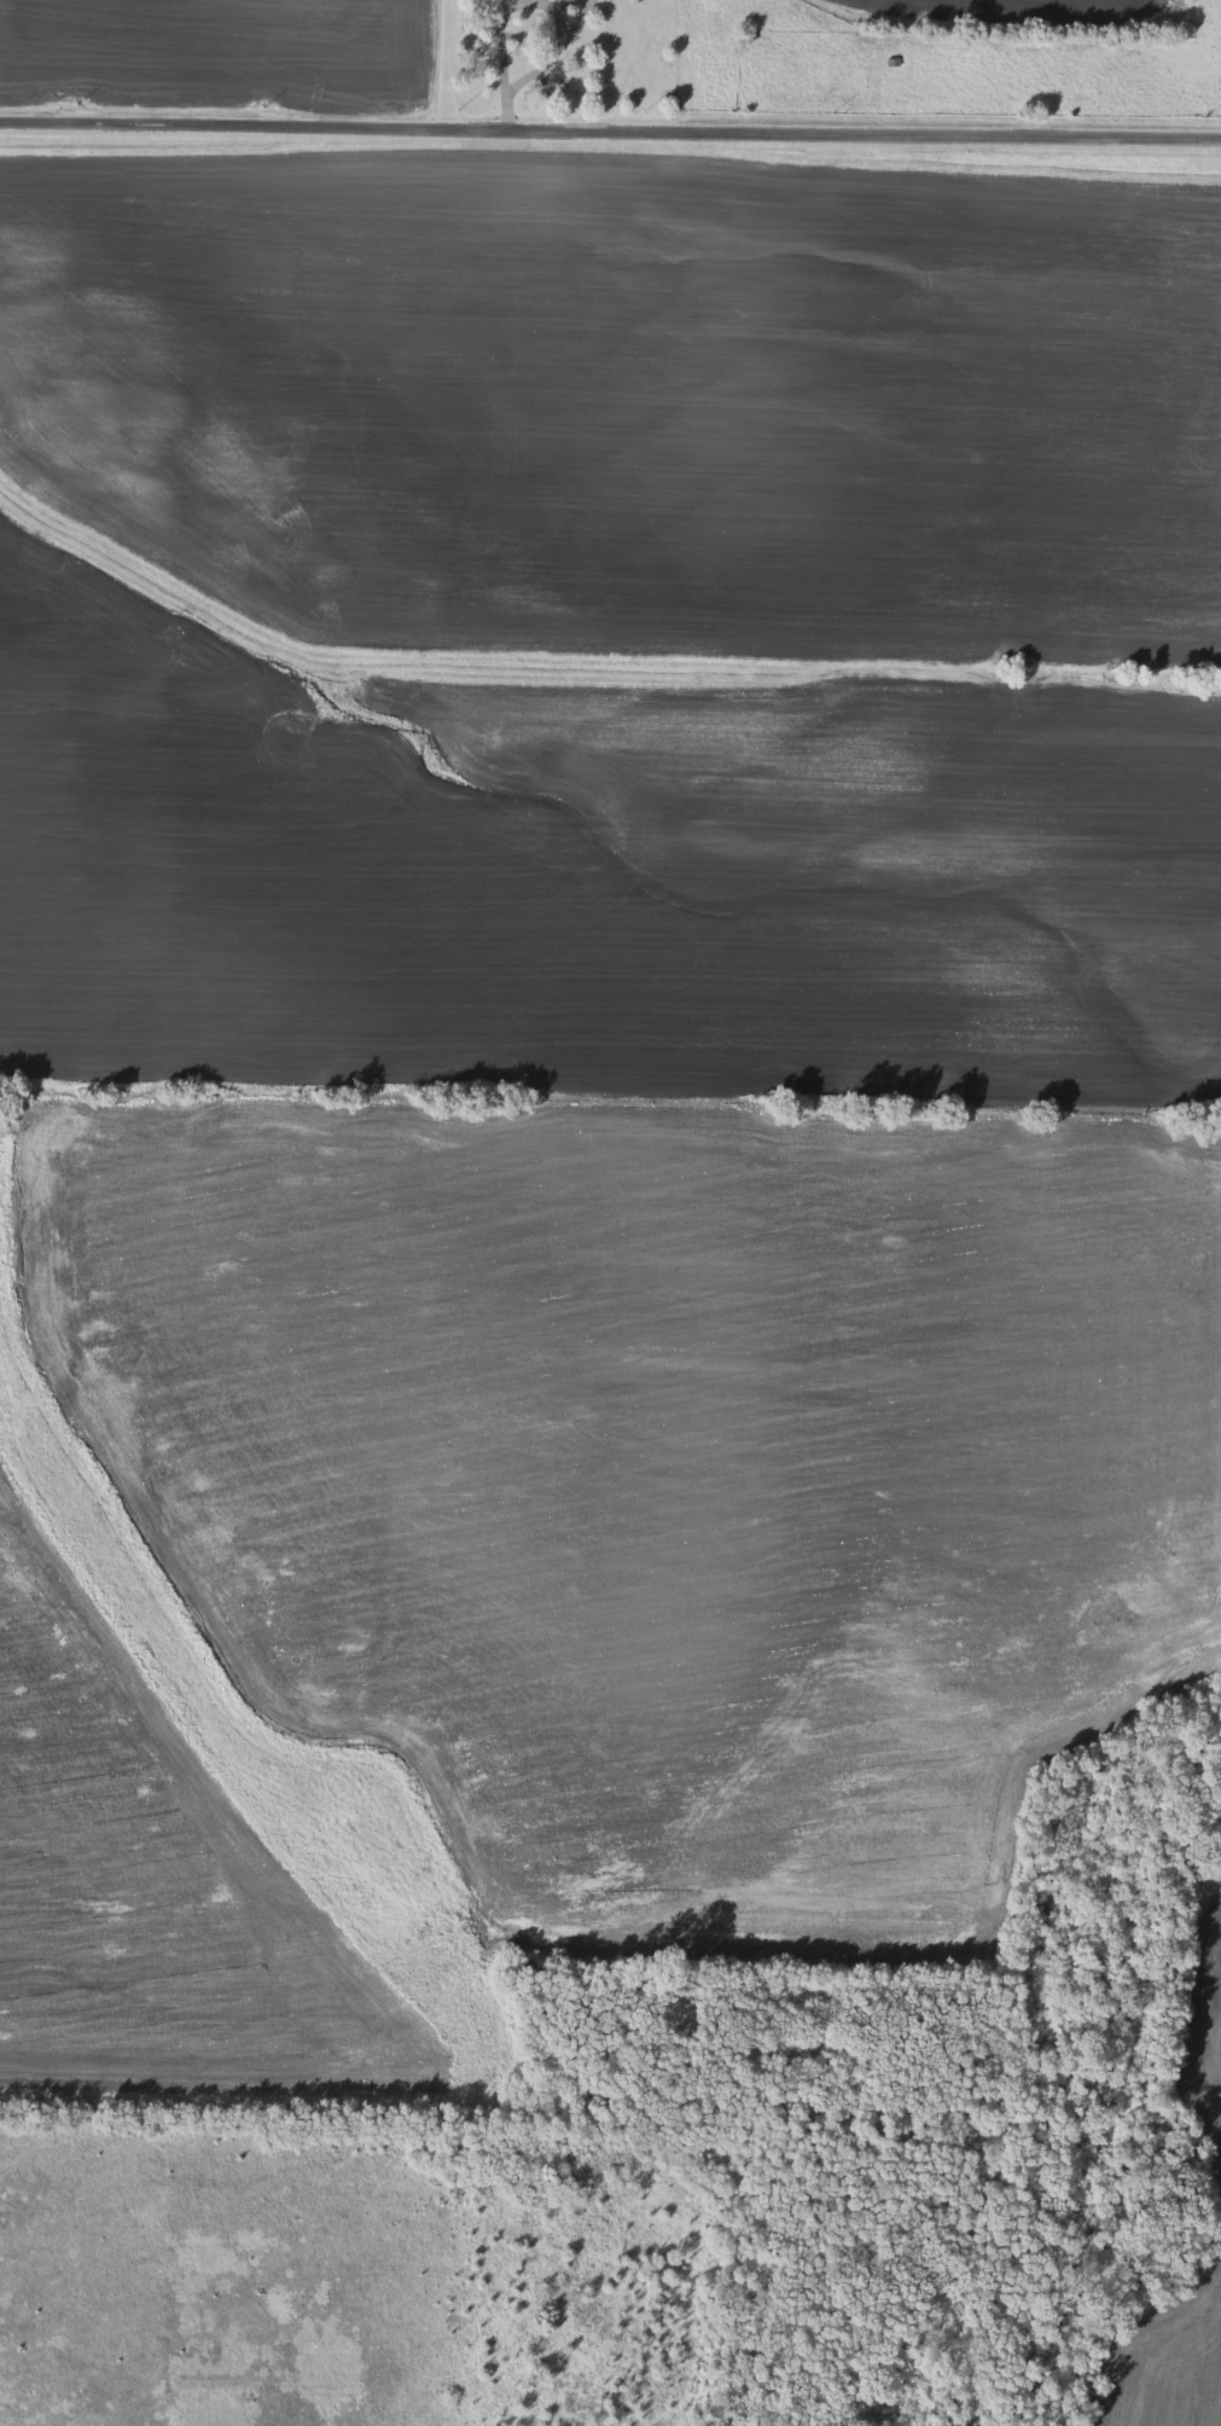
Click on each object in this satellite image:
road: (516, 6)
road: (610, 135)

